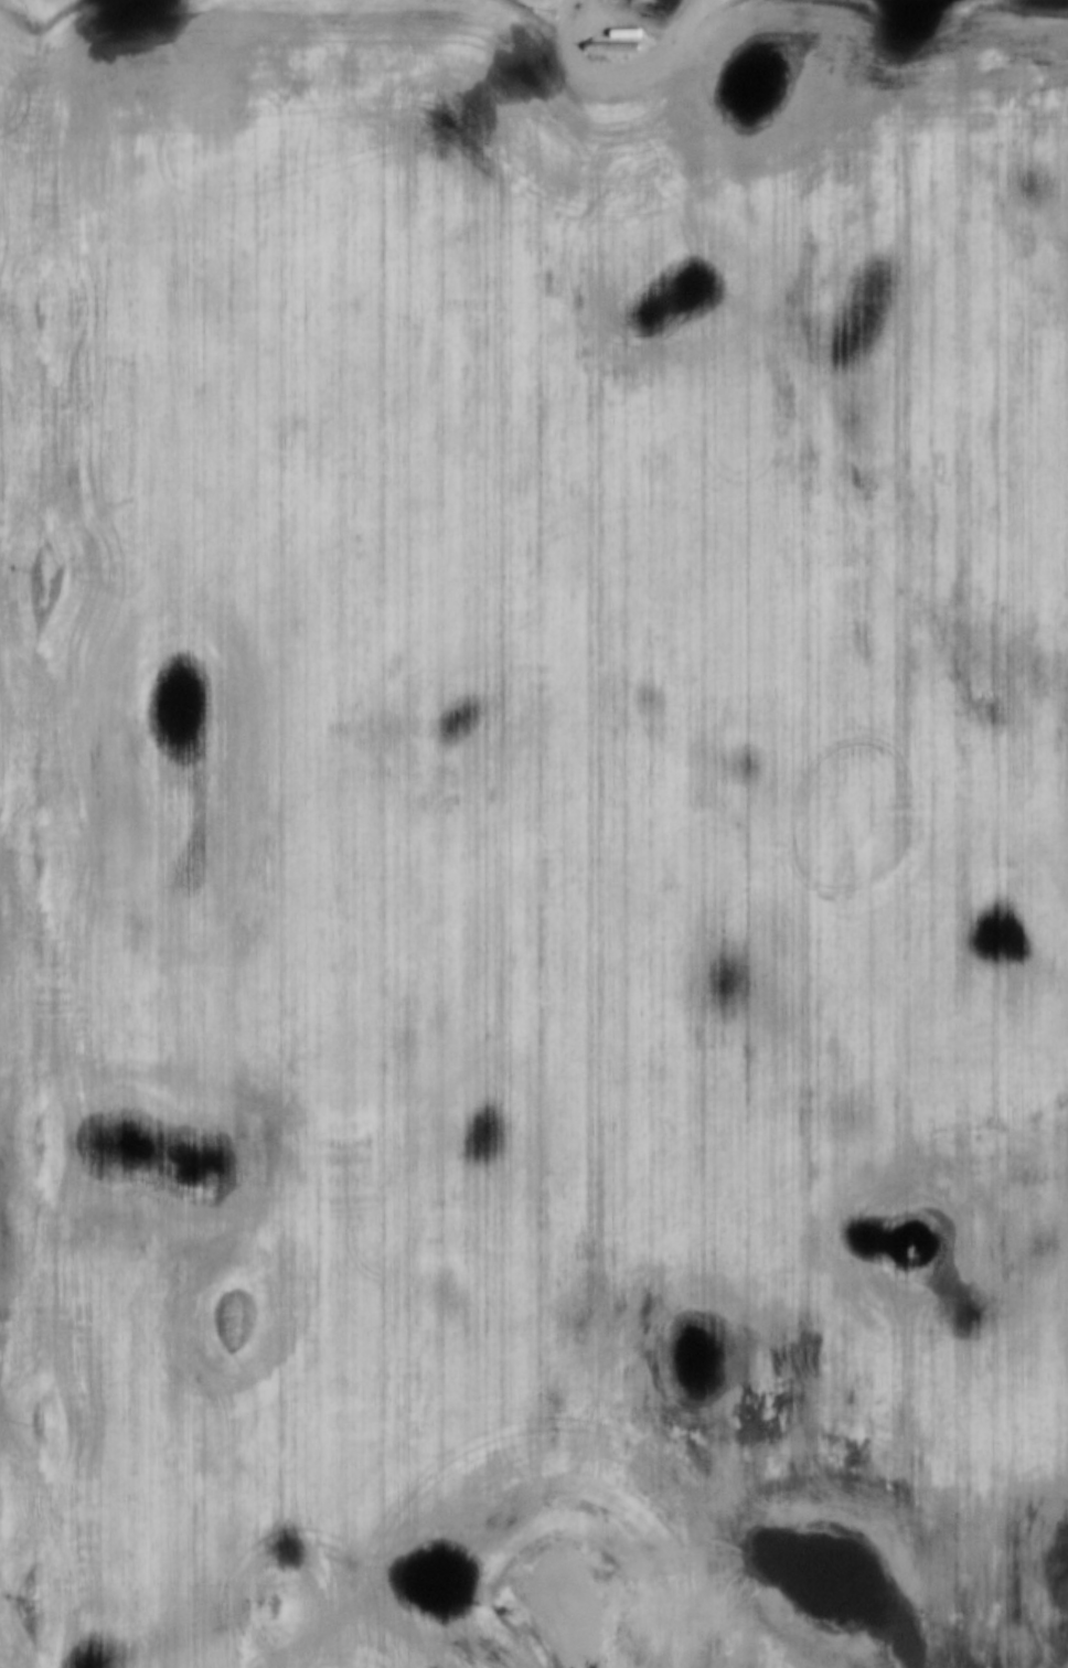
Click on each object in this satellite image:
road: (641, 11)
road: (580, 1555)

